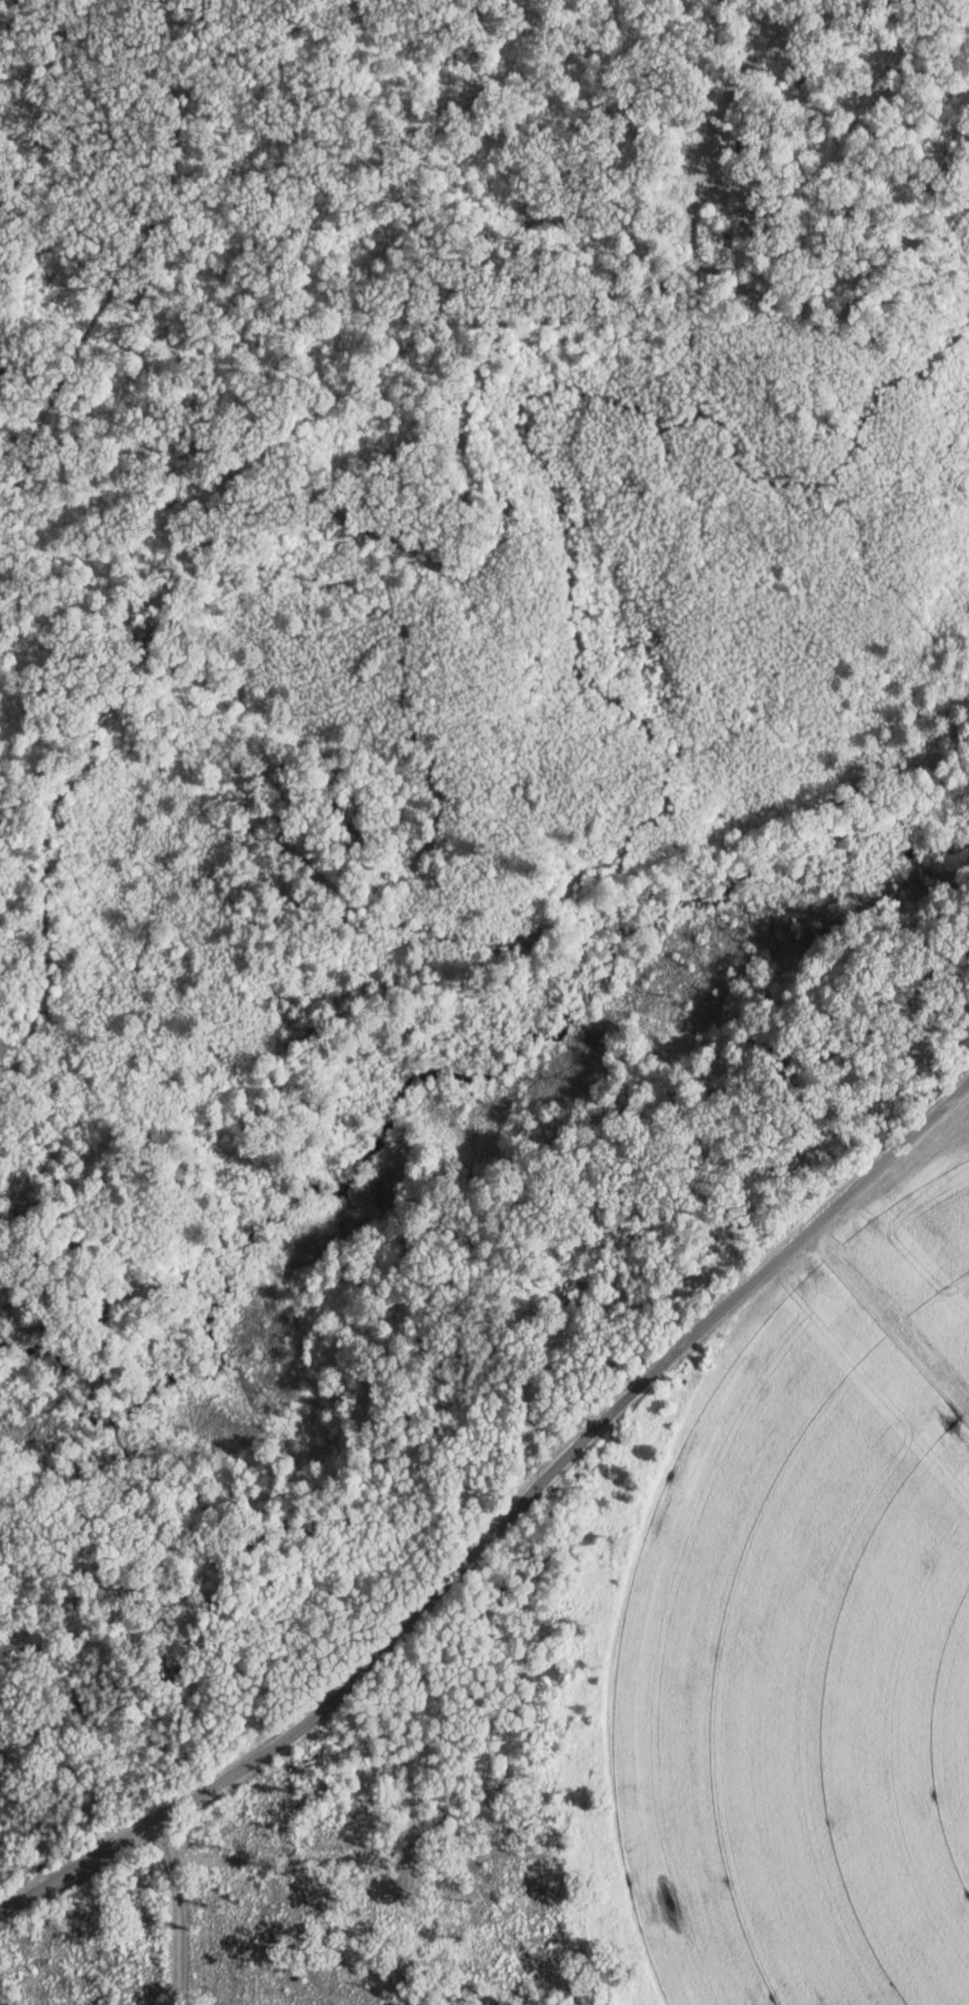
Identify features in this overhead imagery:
road: (794, 9)
road: (174, 73)
road: (463, 460)
road: (387, 915)
road: (835, 1221)
road: (454, 1260)
road: (517, 1419)
road: (371, 1657)
wastewater plant: (632, 1710)

